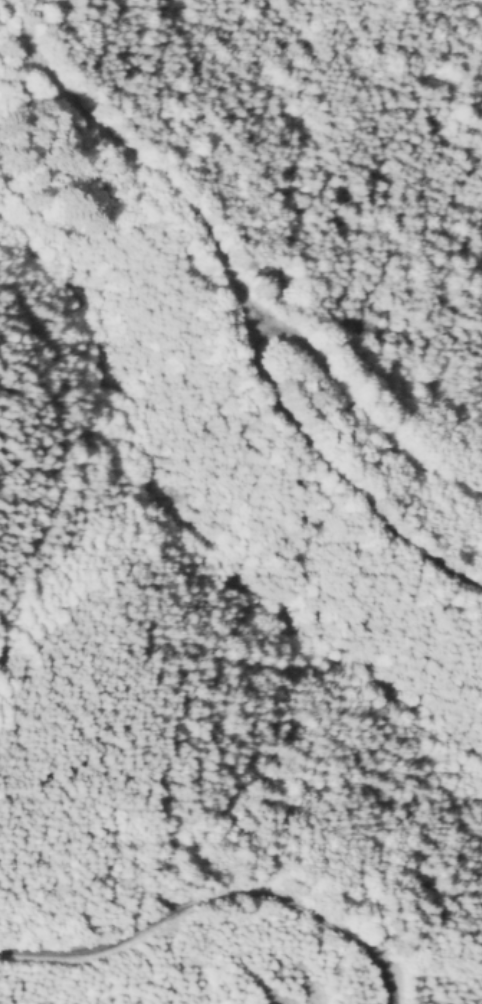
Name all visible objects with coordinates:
road: (149, 189)
road: (250, 371)
road: (215, 900)

